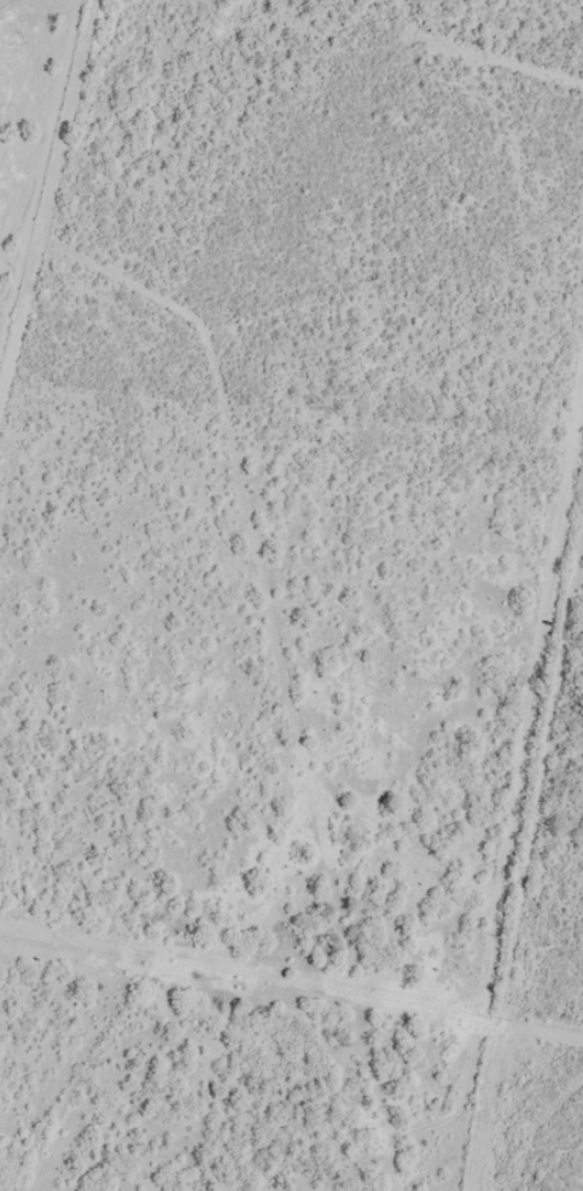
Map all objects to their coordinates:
road: (299, 586)

